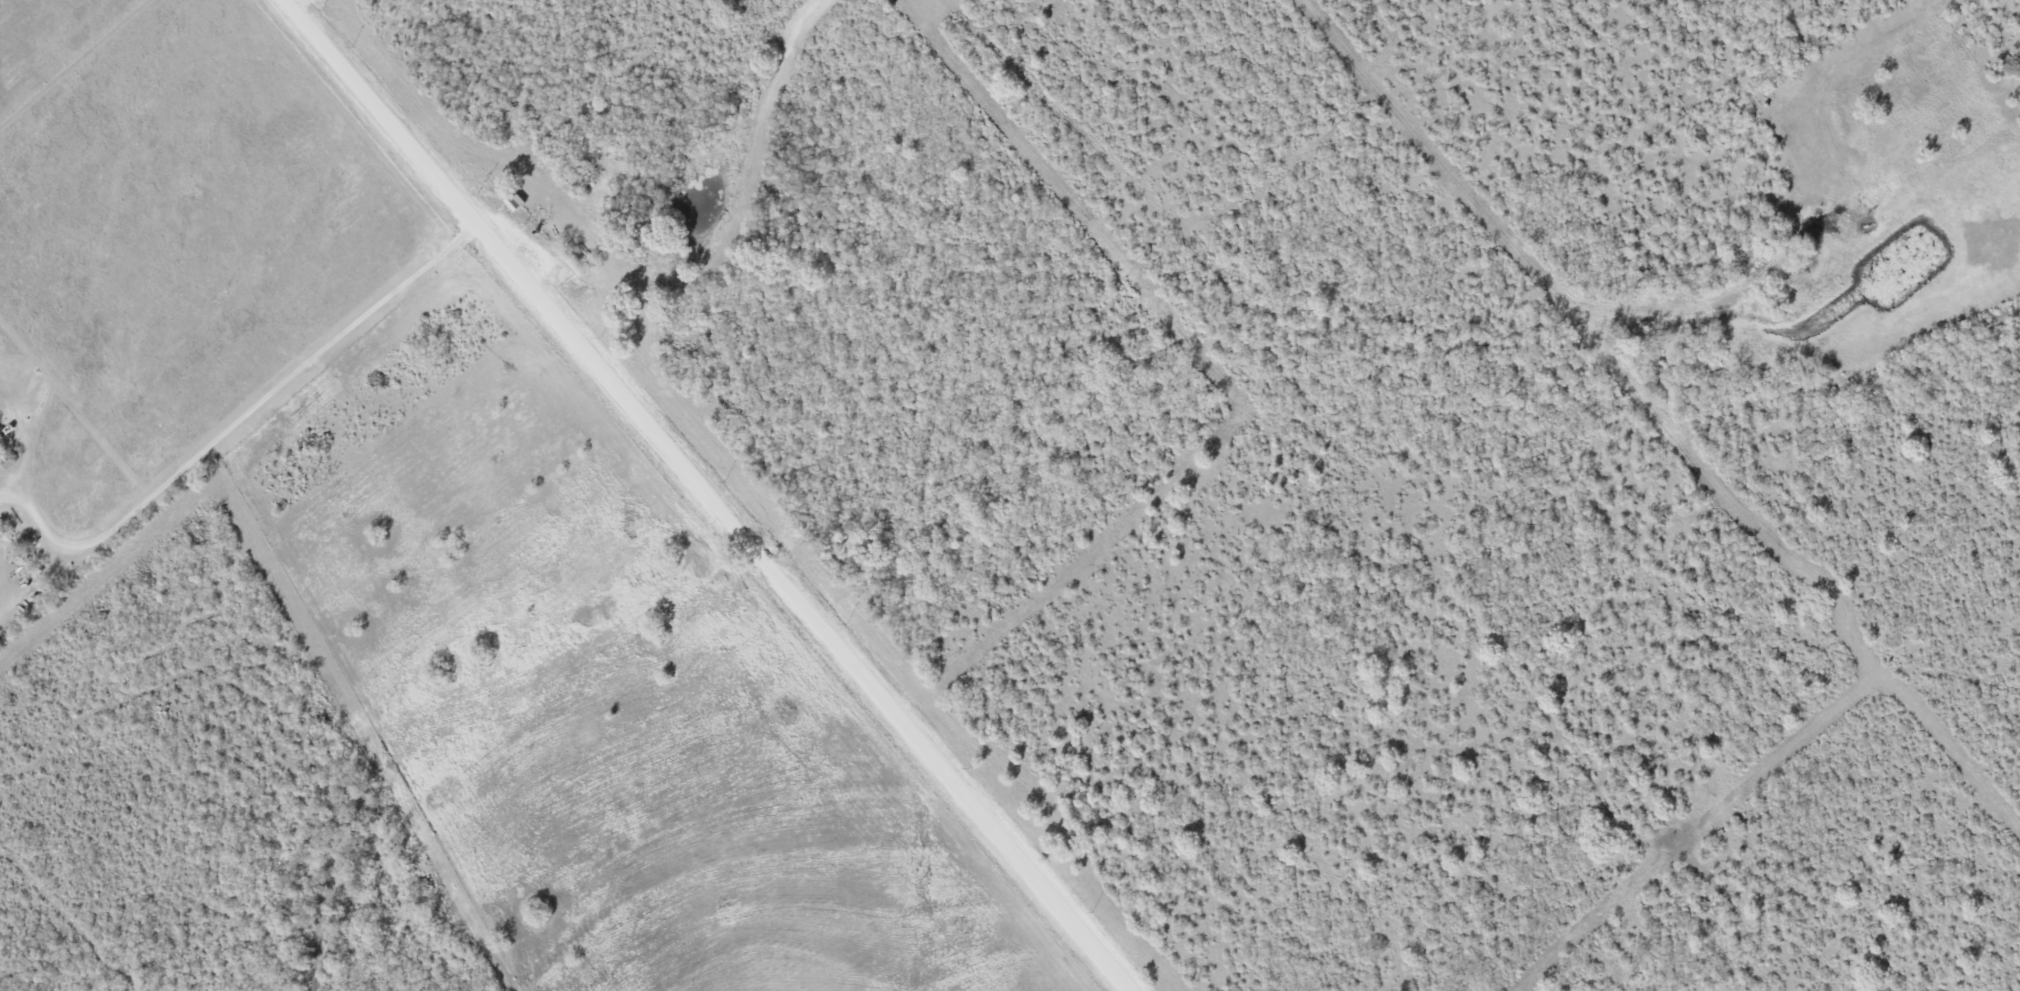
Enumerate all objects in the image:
road: (298, 1)
river: (1360, 335)
road: (240, 418)
road: (718, 494)
river: (463, 714)

